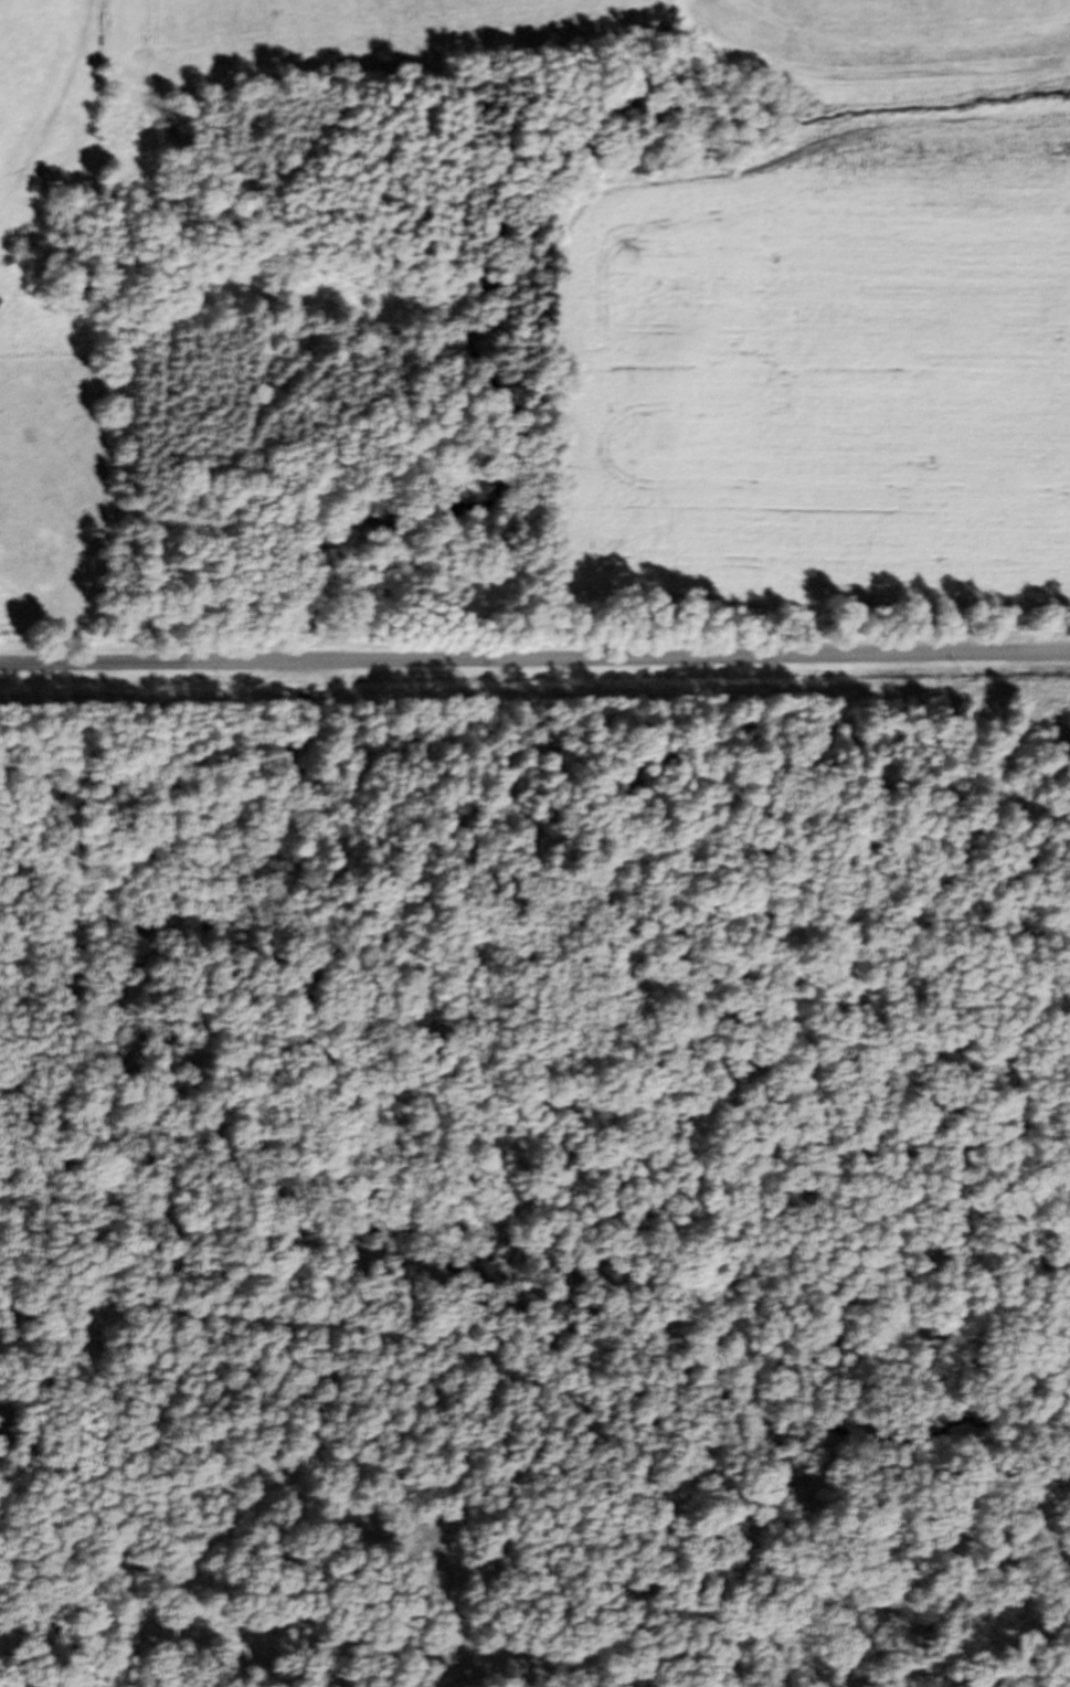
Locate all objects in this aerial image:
road: (534, 659)

